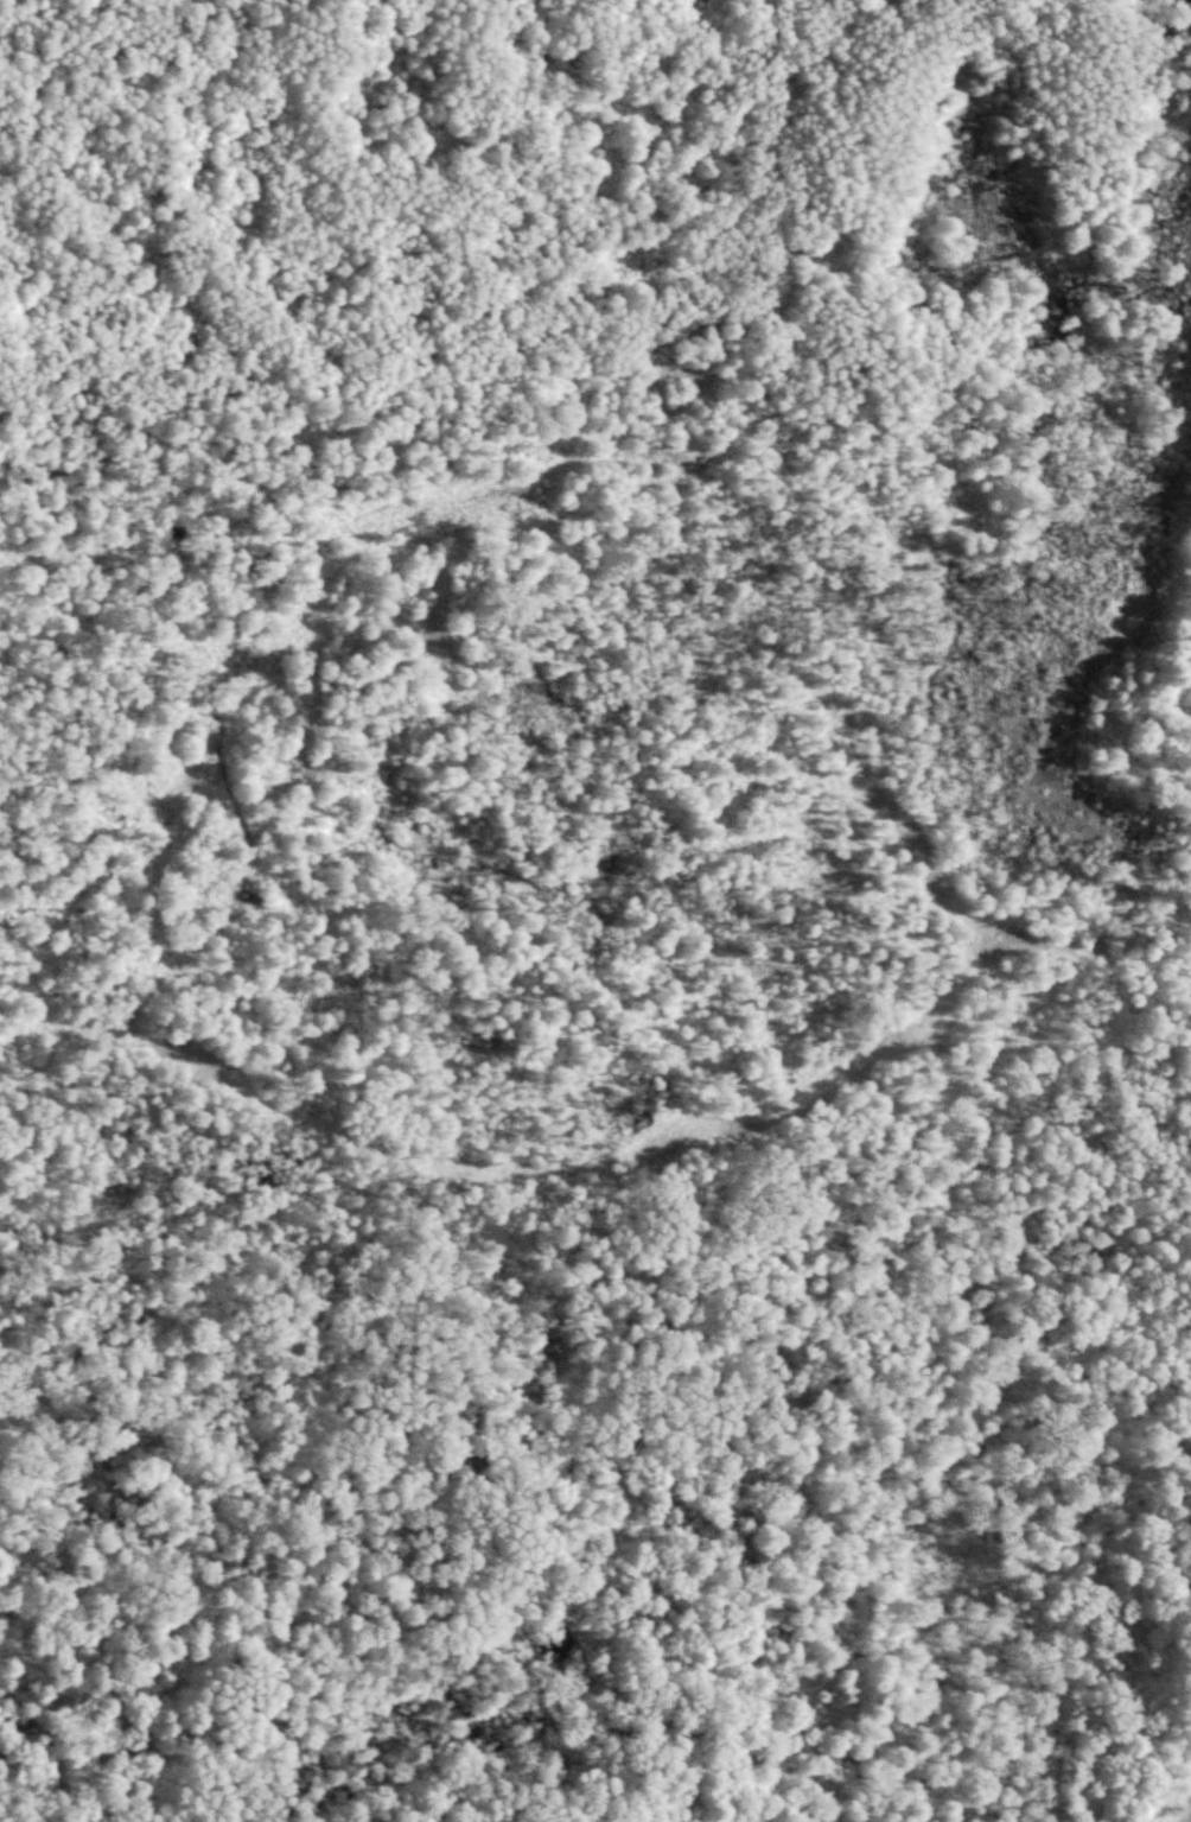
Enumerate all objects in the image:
road: (839, 59)
road: (893, 305)

